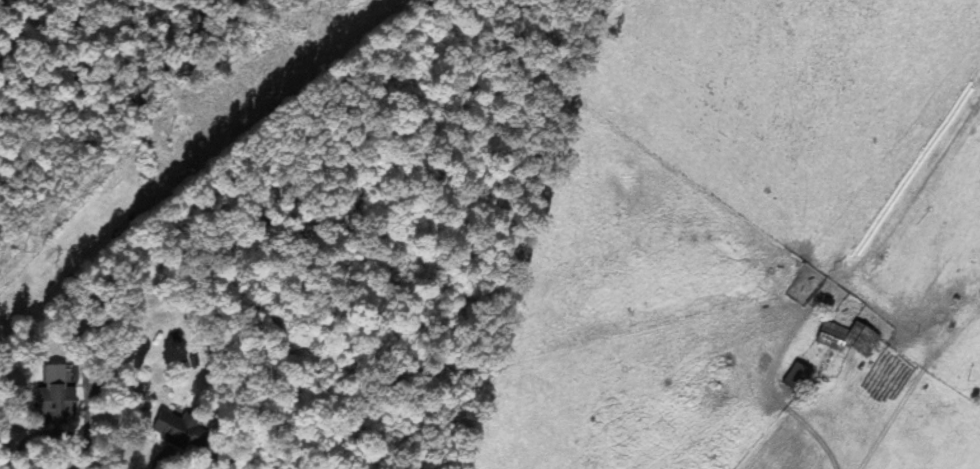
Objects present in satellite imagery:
building: (849, 338)
building: (795, 376)
road: (789, 398)
building: (52, 401)
road: (87, 413)
building: (177, 429)
road: (52, 435)

